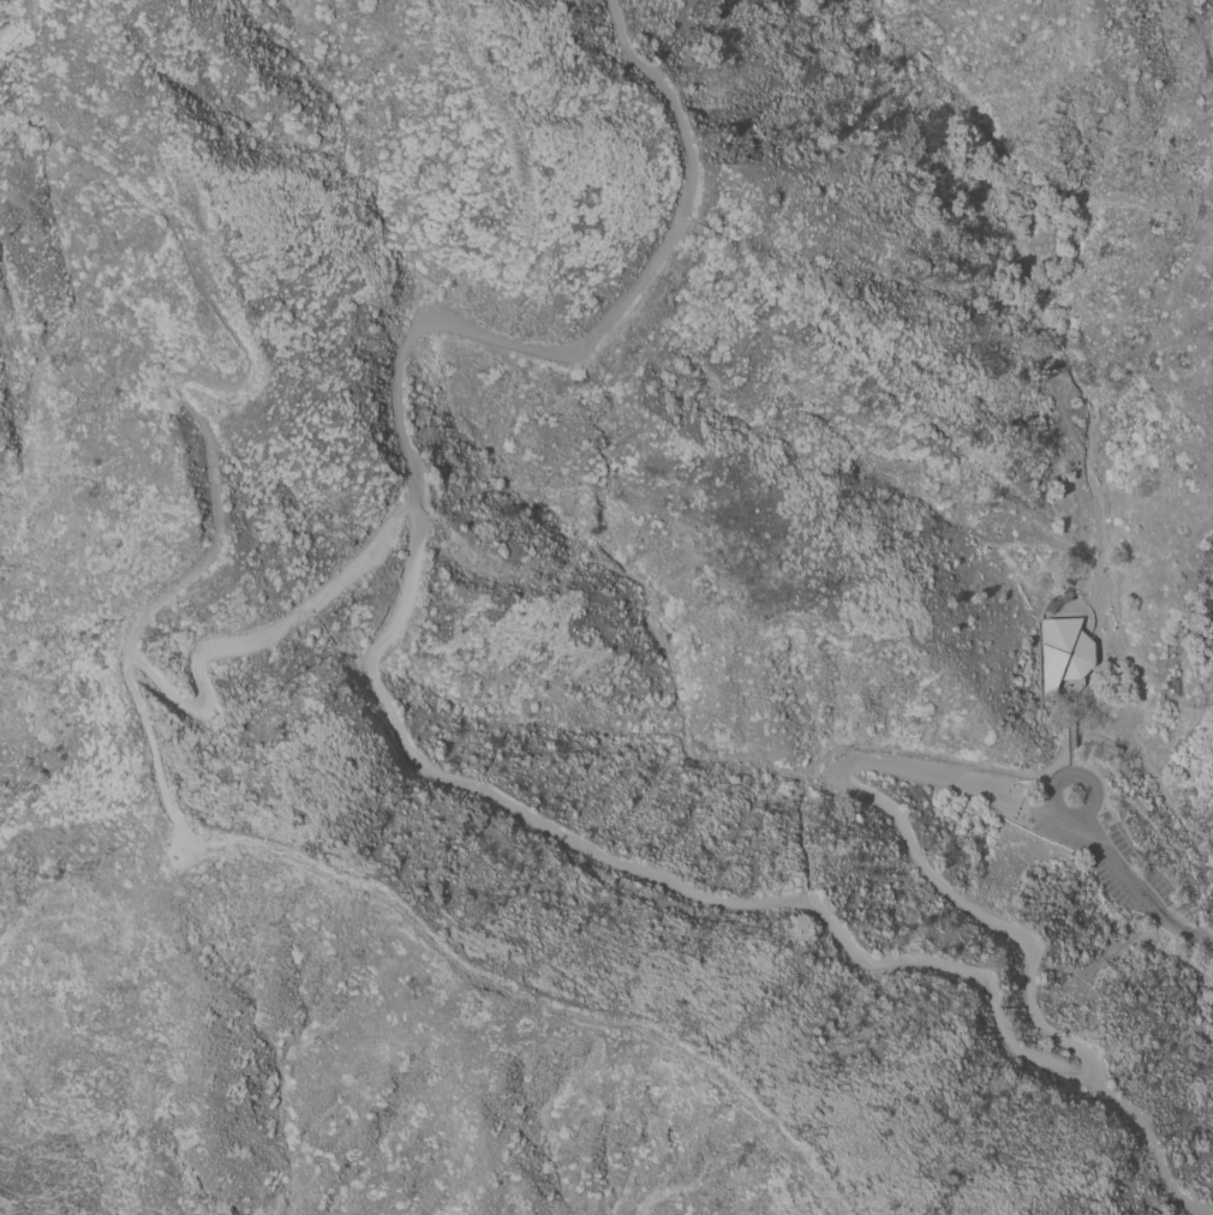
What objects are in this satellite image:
road: (16, 24)
road: (219, 511)
building: (1064, 652)
road: (1072, 689)
road: (1075, 726)
road: (1129, 839)
road: (1109, 855)
parking lot: (1105, 856)
road: (635, 864)
road: (1179, 930)
road: (444, 944)
road: (1154, 1142)

